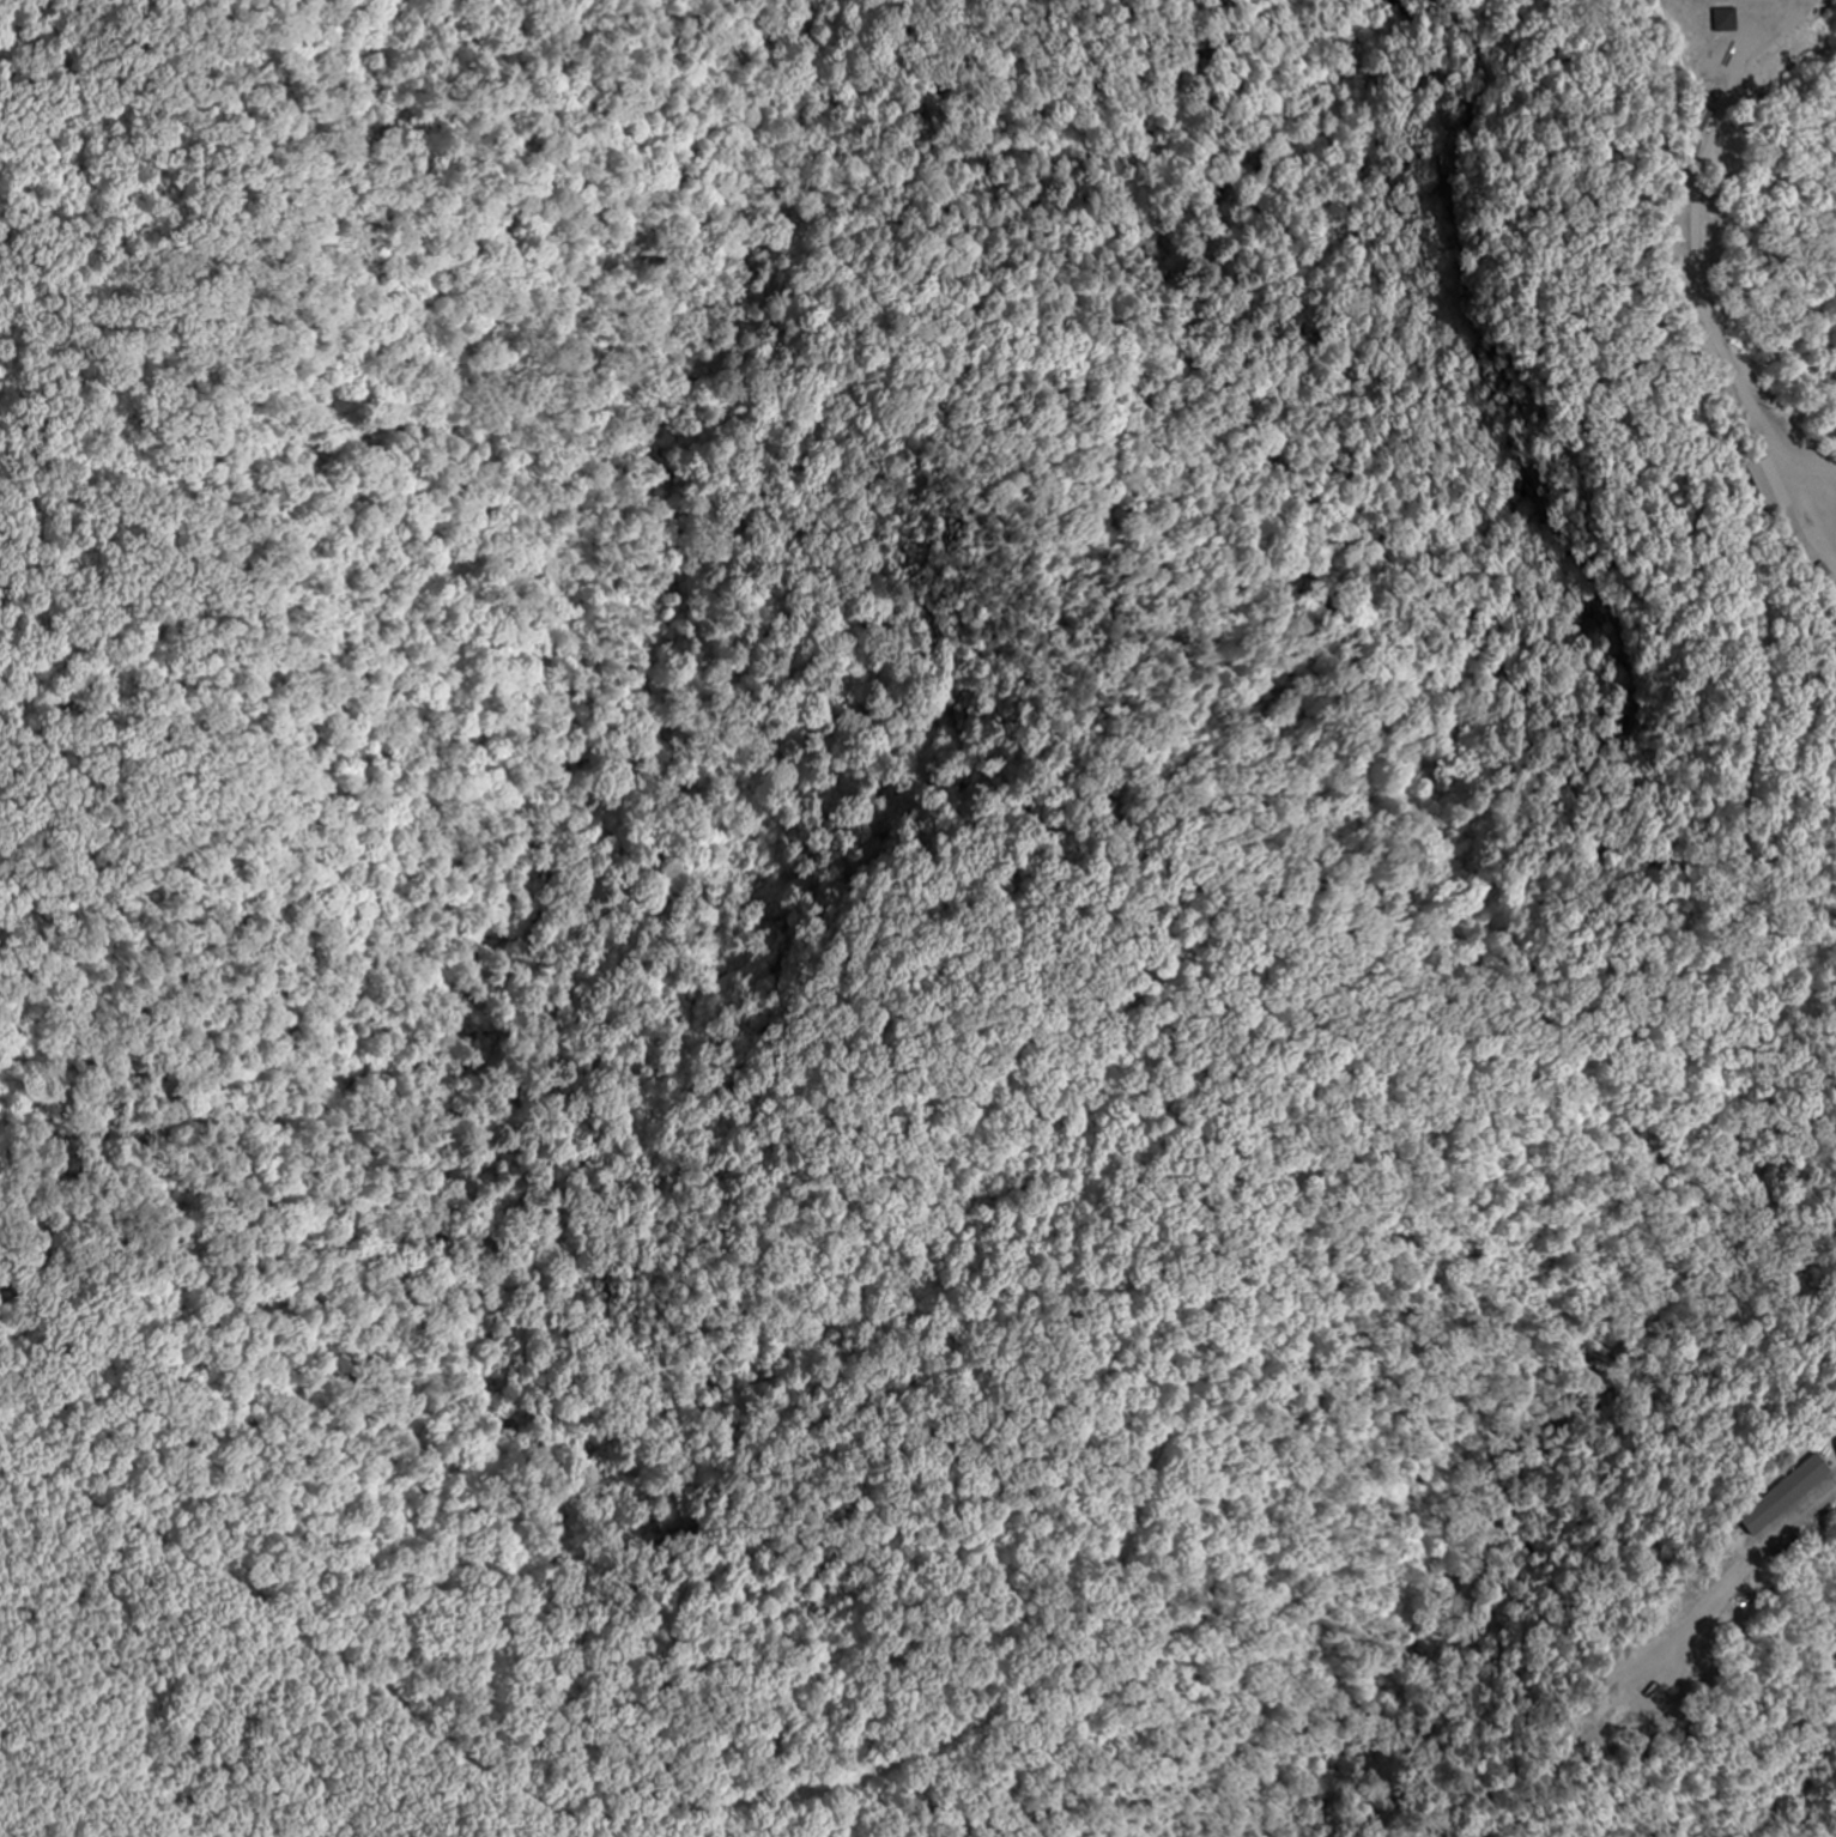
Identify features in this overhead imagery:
road: (1775, 16)
building: (1725, 19)
road: (1699, 293)
building: (1767, 485)
road: (116, 576)
road: (437, 667)
road: (1165, 1419)
building: (1783, 1496)

